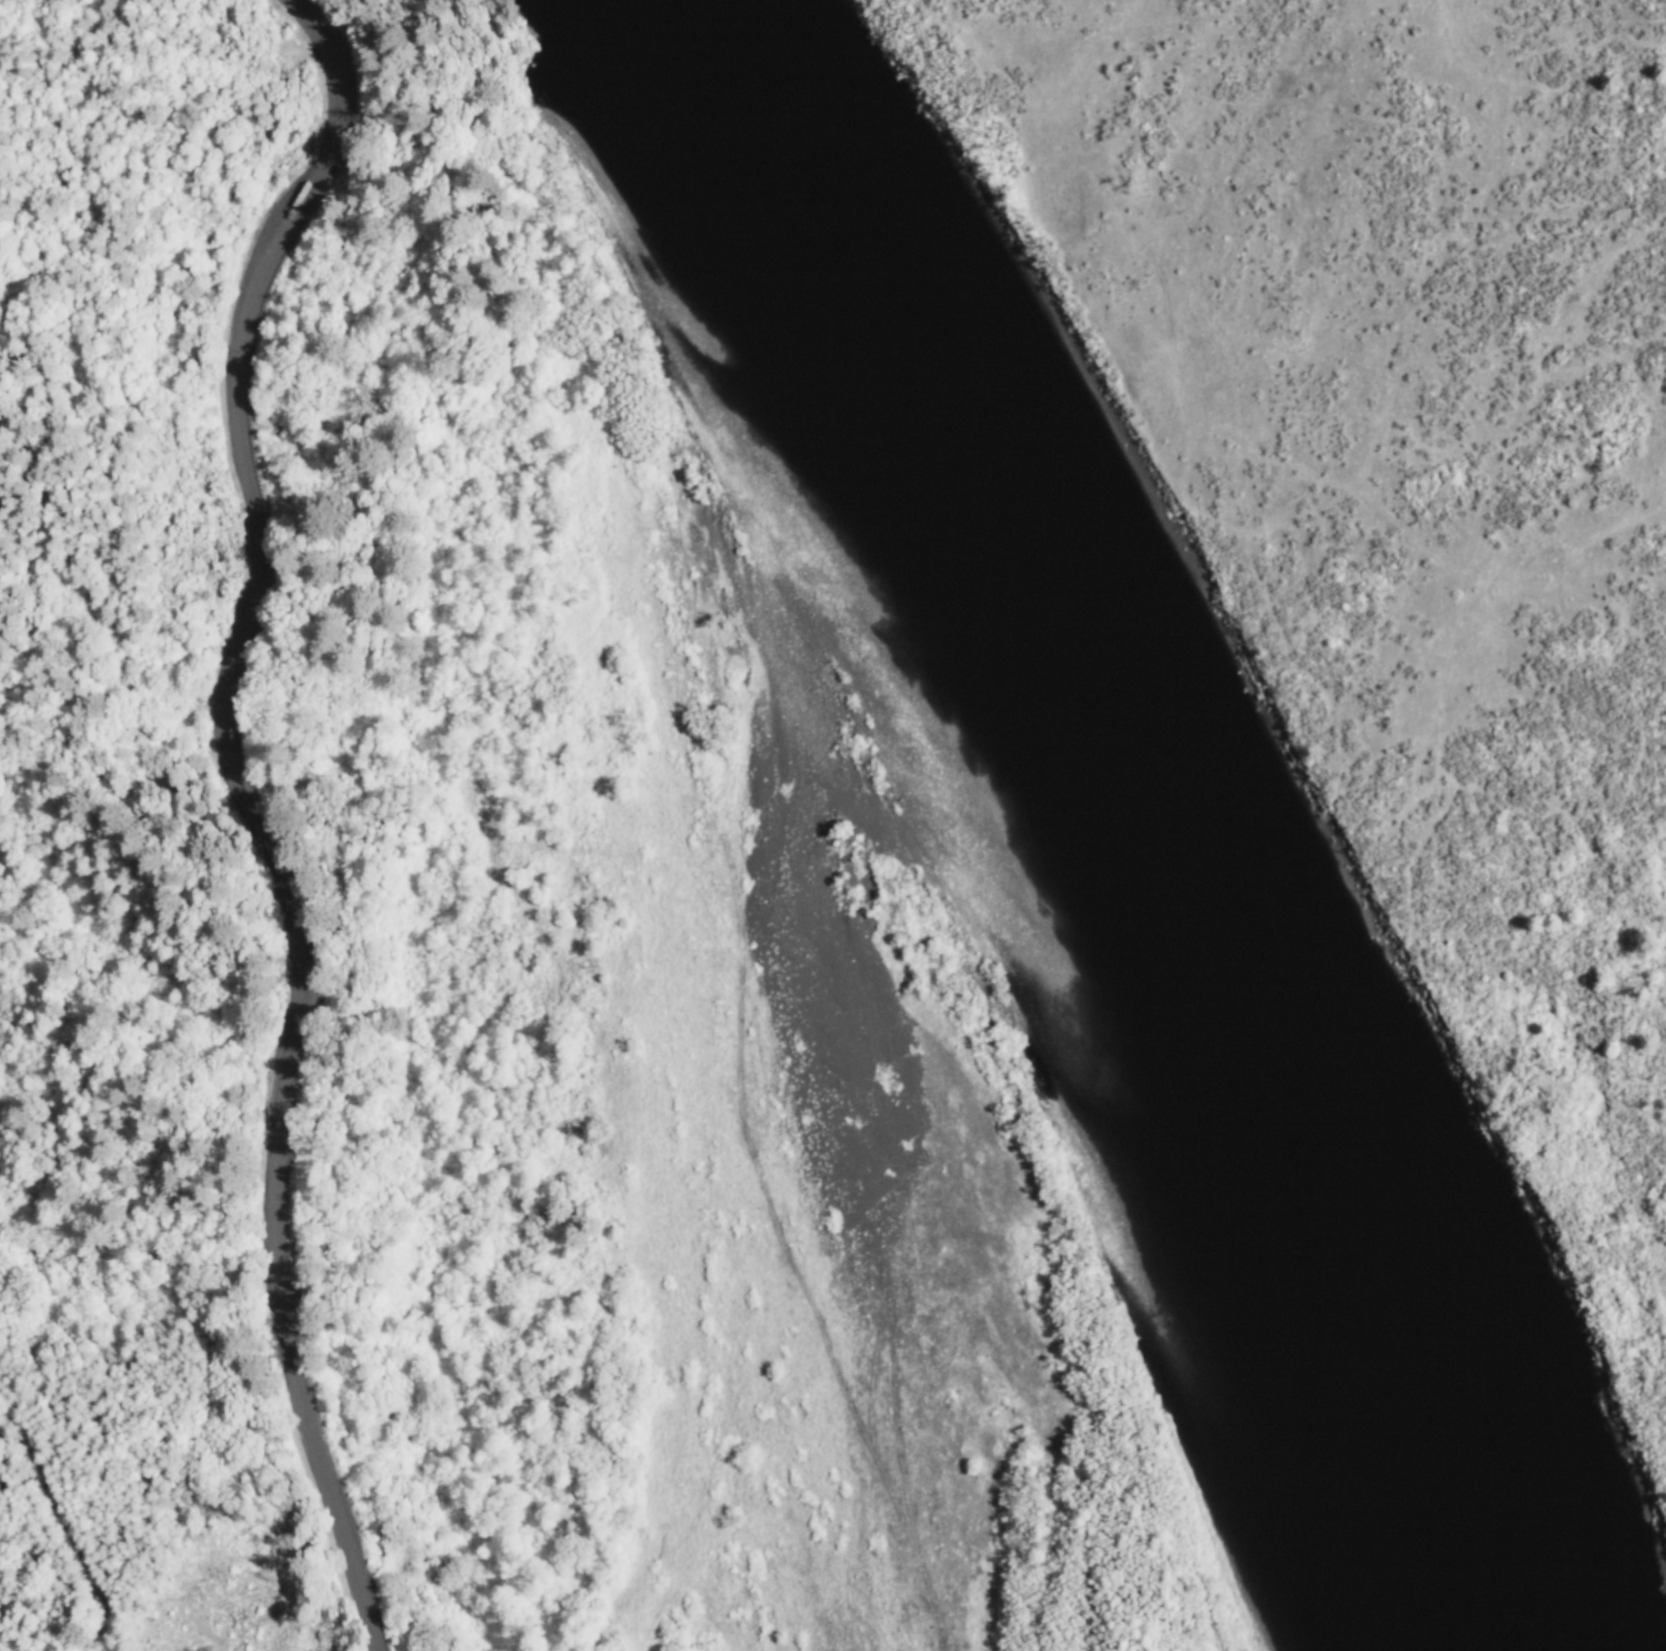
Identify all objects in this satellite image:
river: (1029, 775)
road: (252, 806)

